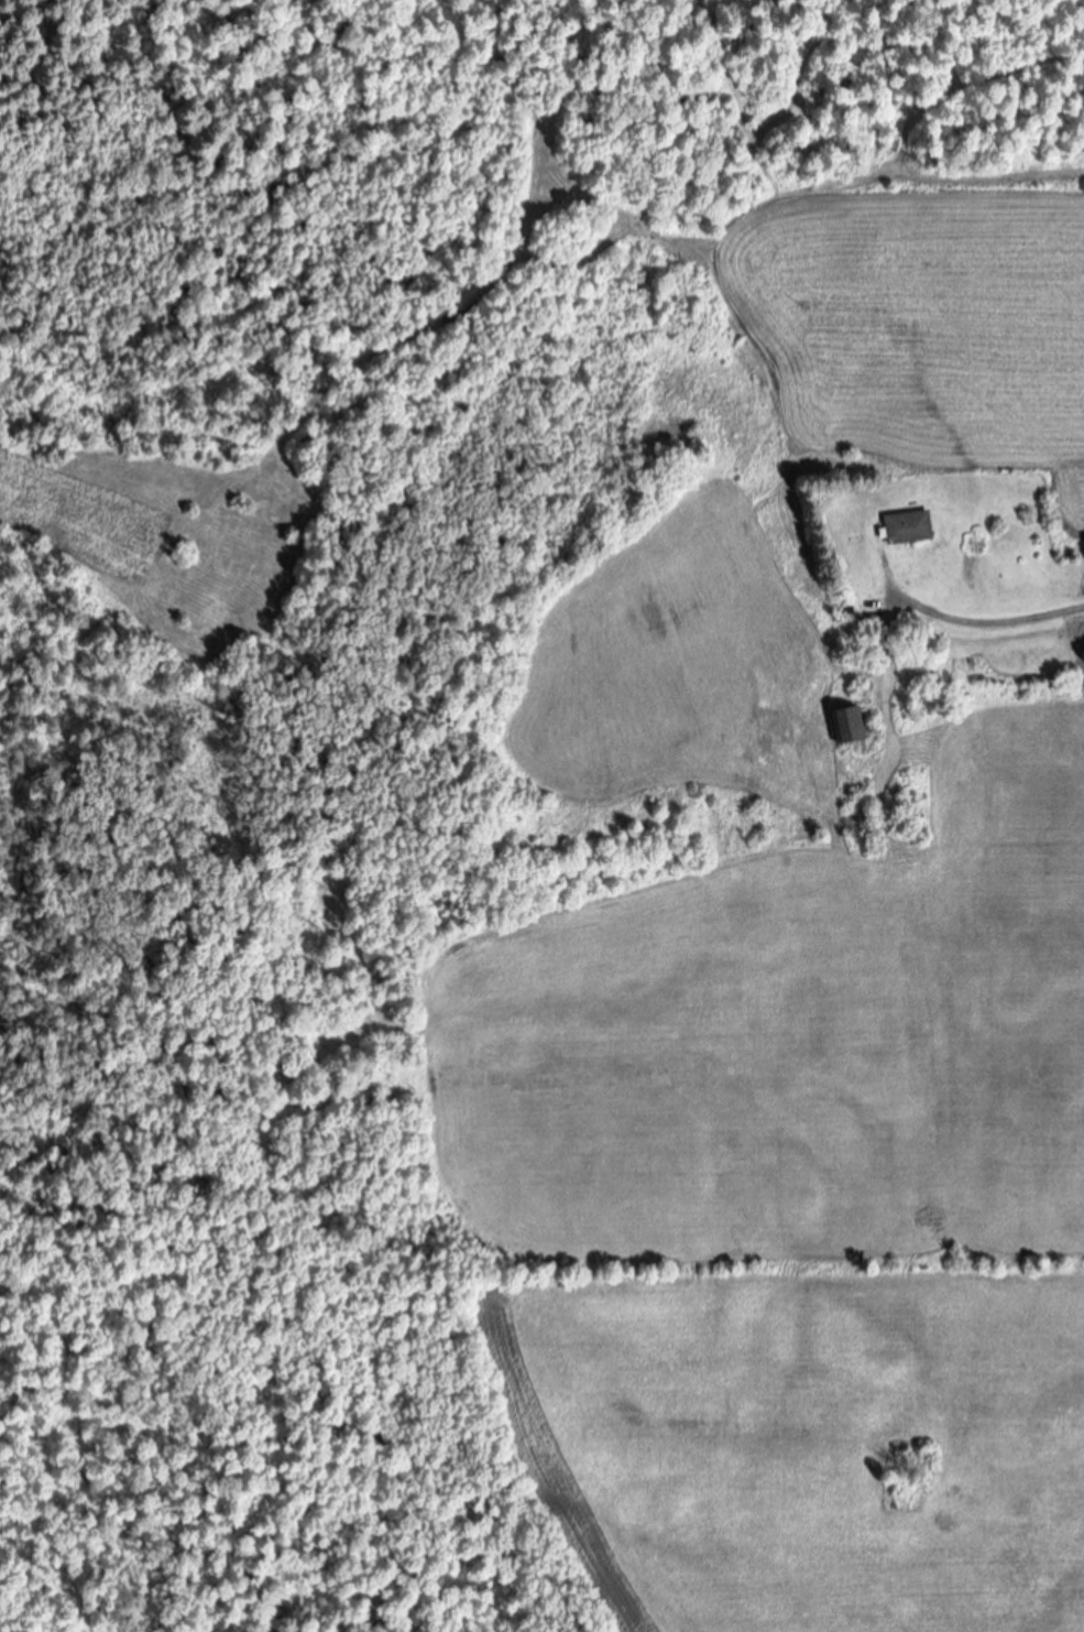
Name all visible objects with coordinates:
building: (905, 531)
road: (966, 624)
building: (844, 729)

